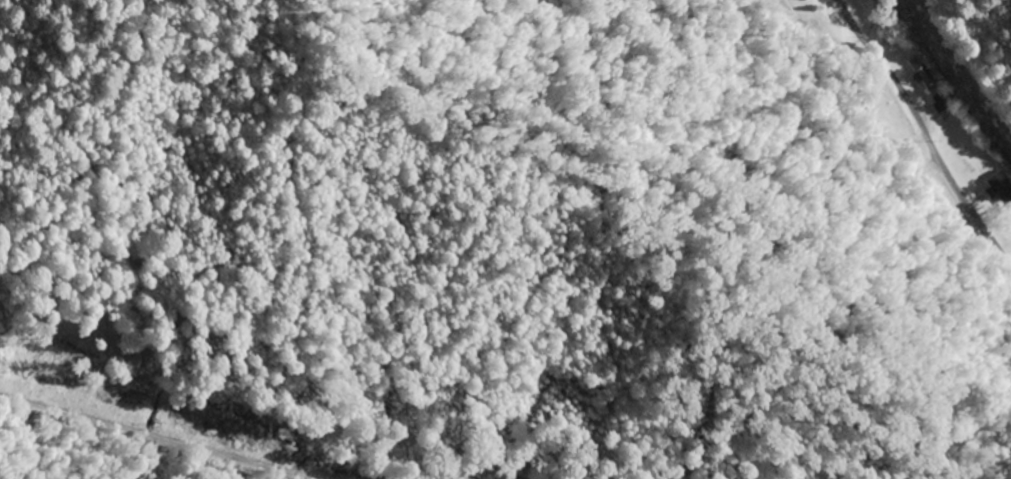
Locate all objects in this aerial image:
road: (939, 124)
road: (318, 478)

